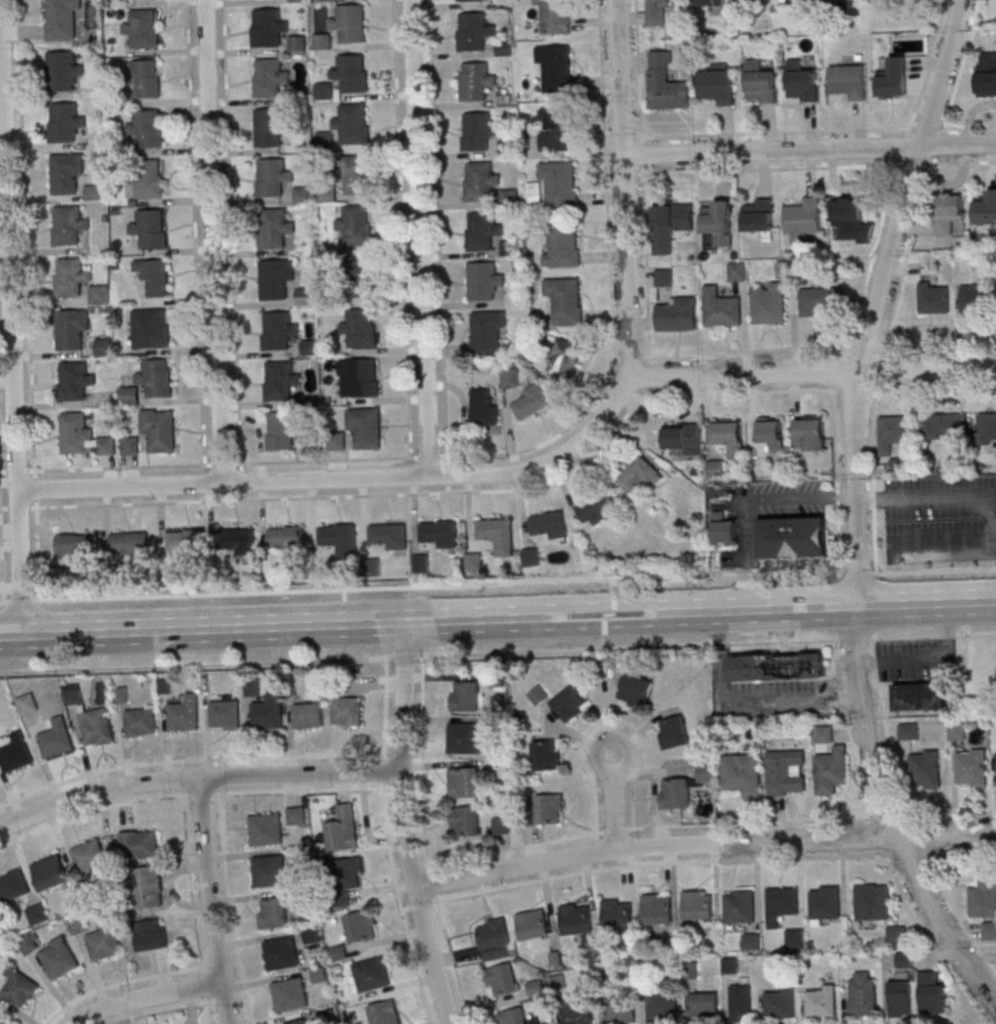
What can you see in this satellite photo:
building: (472, 0)
building: (753, 0)
building: (711, 2)
building: (658, 12)
building: (556, 16)
building: (65, 19)
road: (17, 20)
building: (350, 22)
building: (269, 27)
building: (144, 28)
building: (475, 31)
building: (324, 41)
building: (298, 43)
building: (557, 67)
road: (928, 69)
building: (65, 70)
building: (352, 72)
building: (987, 73)
building: (272, 77)
building: (148, 78)
building: (894, 78)
building: (477, 80)
building: (849, 80)
building: (802, 81)
building: (761, 82)
building: (666, 83)
building: (716, 85)
building: (325, 90)
building: (66, 121)
building: (354, 123)
building: (271, 127)
building: (558, 127)
building: (149, 128)
building: (477, 130)
road: (775, 132)
building: (508, 146)
road: (809, 151)
building: (69, 173)
building: (357, 174)
building: (274, 177)
building: (151, 178)
building: (481, 180)
building: (561, 183)
road: (625, 189)
building: (510, 196)
road: (644, 198)
building: (986, 208)
building: (949, 211)
building: (759, 214)
building: (805, 219)
building: (852, 219)
building: (718, 221)
building: (670, 222)
building: (70, 224)
building: (357, 224)
building: (152, 227)
building: (276, 227)
road: (438, 228)
building: (483, 230)
road: (232, 232)
road: (401, 232)
road: (196, 236)
road: (421, 238)
road: (215, 242)
building: (562, 243)
road: (904, 264)
building: (785, 268)
building: (737, 271)
road: (27, 273)
building: (156, 276)
building: (363, 276)
building: (663, 277)
building: (277, 278)
building: (78, 280)
building: (484, 281)
road: (610, 287)
building: (934, 297)
building: (975, 297)
building: (566, 299)
building: (822, 300)
building: (768, 302)
building: (721, 308)
road: (857, 309)
building: (677, 314)
road: (11, 323)
building: (152, 327)
building: (360, 327)
building: (73, 328)
building: (279, 330)
building: (487, 333)
road: (821, 345)
building: (104, 347)
building: (567, 358)
road: (838, 366)
road: (881, 368)
road: (810, 373)
building: (157, 377)
building: (363, 377)
building: (510, 377)
building: (75, 380)
building: (281, 380)
road: (738, 392)
building: (130, 395)
building: (532, 401)
building: (483, 406)
road: (871, 417)
building: (944, 425)
building: (366, 427)
building: (987, 427)
building: (160, 429)
building: (283, 430)
building: (894, 431)
building: (771, 432)
building: (810, 432)
building: (729, 435)
building: (83, 436)
building: (681, 438)
building: (131, 445)
road: (429, 456)
road: (324, 460)
road: (221, 463)
road: (123, 467)
building: (716, 468)
building: (639, 474)
road: (837, 477)
road: (342, 480)
road: (35, 490)
road: (355, 495)
road: (947, 496)
road: (744, 501)
building: (596, 507)
road: (855, 514)
building: (549, 524)
building: (724, 529)
building: (439, 533)
building: (497, 534)
building: (389, 535)
building: (339, 536)
building: (286, 537)
building: (792, 537)
building: (236, 538)
building: (185, 539)
road: (940, 543)
building: (75, 544)
building: (129, 545)
road: (37, 549)
building: (532, 556)
building: (474, 561)
road: (1, 563)
building: (421, 565)
road: (859, 570)
road: (934, 570)
road: (441, 585)
road: (22, 601)
road: (4, 603)
road: (497, 620)
road: (706, 644)
road: (404, 655)
road: (196, 664)
building: (776, 666)
building: (252, 686)
building: (632, 687)
building: (73, 694)
building: (464, 695)
building: (920, 696)
road: (747, 701)
building: (569, 702)
building: (28, 703)
road: (384, 708)
building: (346, 711)
building: (268, 712)
building: (184, 713)
building: (225, 714)
building: (309, 714)
road: (604, 721)
building: (141, 722)
building: (98, 726)
building: (908, 730)
building: (672, 732)
road: (848, 732)
building: (464, 737)
building: (56, 738)
building: (16, 753)
building: (546, 754)
road: (188, 759)
building: (971, 767)
building: (924, 769)
building: (830, 770)
building: (785, 772)
road: (383, 773)
building: (705, 773)
building: (742, 773)
road: (196, 780)
building: (463, 782)
road: (298, 791)
building: (674, 792)
road: (201, 794)
road: (613, 799)
building: (549, 808)
road: (92, 812)
building: (295, 815)
road: (946, 815)
road: (887, 818)
building: (464, 820)
road: (751, 821)
building: (501, 825)
road: (403, 826)
building: (264, 829)
building: (341, 830)
road: (614, 830)
road: (878, 835)
road: (424, 841)
road: (925, 842)
building: (140, 843)
road: (703, 845)
road: (596, 847)
road: (507, 849)
road: (958, 852)
road: (907, 853)
building: (89, 855)
road: (659, 863)
building: (268, 871)
building: (51, 872)
building: (349, 872)
road: (189, 883)
building: (13, 885)
building: (149, 886)
building: (303, 895)
building: (340, 899)
building: (983, 899)
building: (872, 901)
road: (209, 902)
road: (423, 902)
building: (824, 902)
building: (697, 904)
building: (781, 904)
road: (908, 904)
building: (739, 905)
road: (399, 907)
road: (230, 909)
building: (656, 909)
building: (274, 912)
building: (37, 913)
building: (616, 913)
road: (956, 913)
building: (575, 918)
building: (78, 924)
building: (532, 924)
building: (359, 926)
building: (988, 930)
building: (896, 933)
building: (152, 934)
building: (310, 934)
building: (795, 937)
building: (494, 938)
building: (105, 941)
building: (751, 941)
building: (338, 953)
building: (53, 954)
building: (281, 954)
building: (905, 959)
road: (215, 964)
building: (371, 974)
building: (318, 975)
building: (502, 979)
road: (205, 982)
building: (557, 982)
road: (123, 983)
building: (536, 987)
building: (20, 988)
building: (862, 993)
building: (932, 993)
building: (289, 995)
road: (148, 998)
building: (900, 998)
road: (221, 1000)
building: (821, 1000)
building: (779, 1001)
building: (741, 1002)
building: (702, 1004)
building: (661, 1005)
road: (211, 1008)
building: (577, 1010)
building: (620, 1010)
road: (163, 1012)
building: (383, 1013)
building: (515, 1016)
building: (4, 1019)
building: (298, 1022)
building: (546, 1023)

